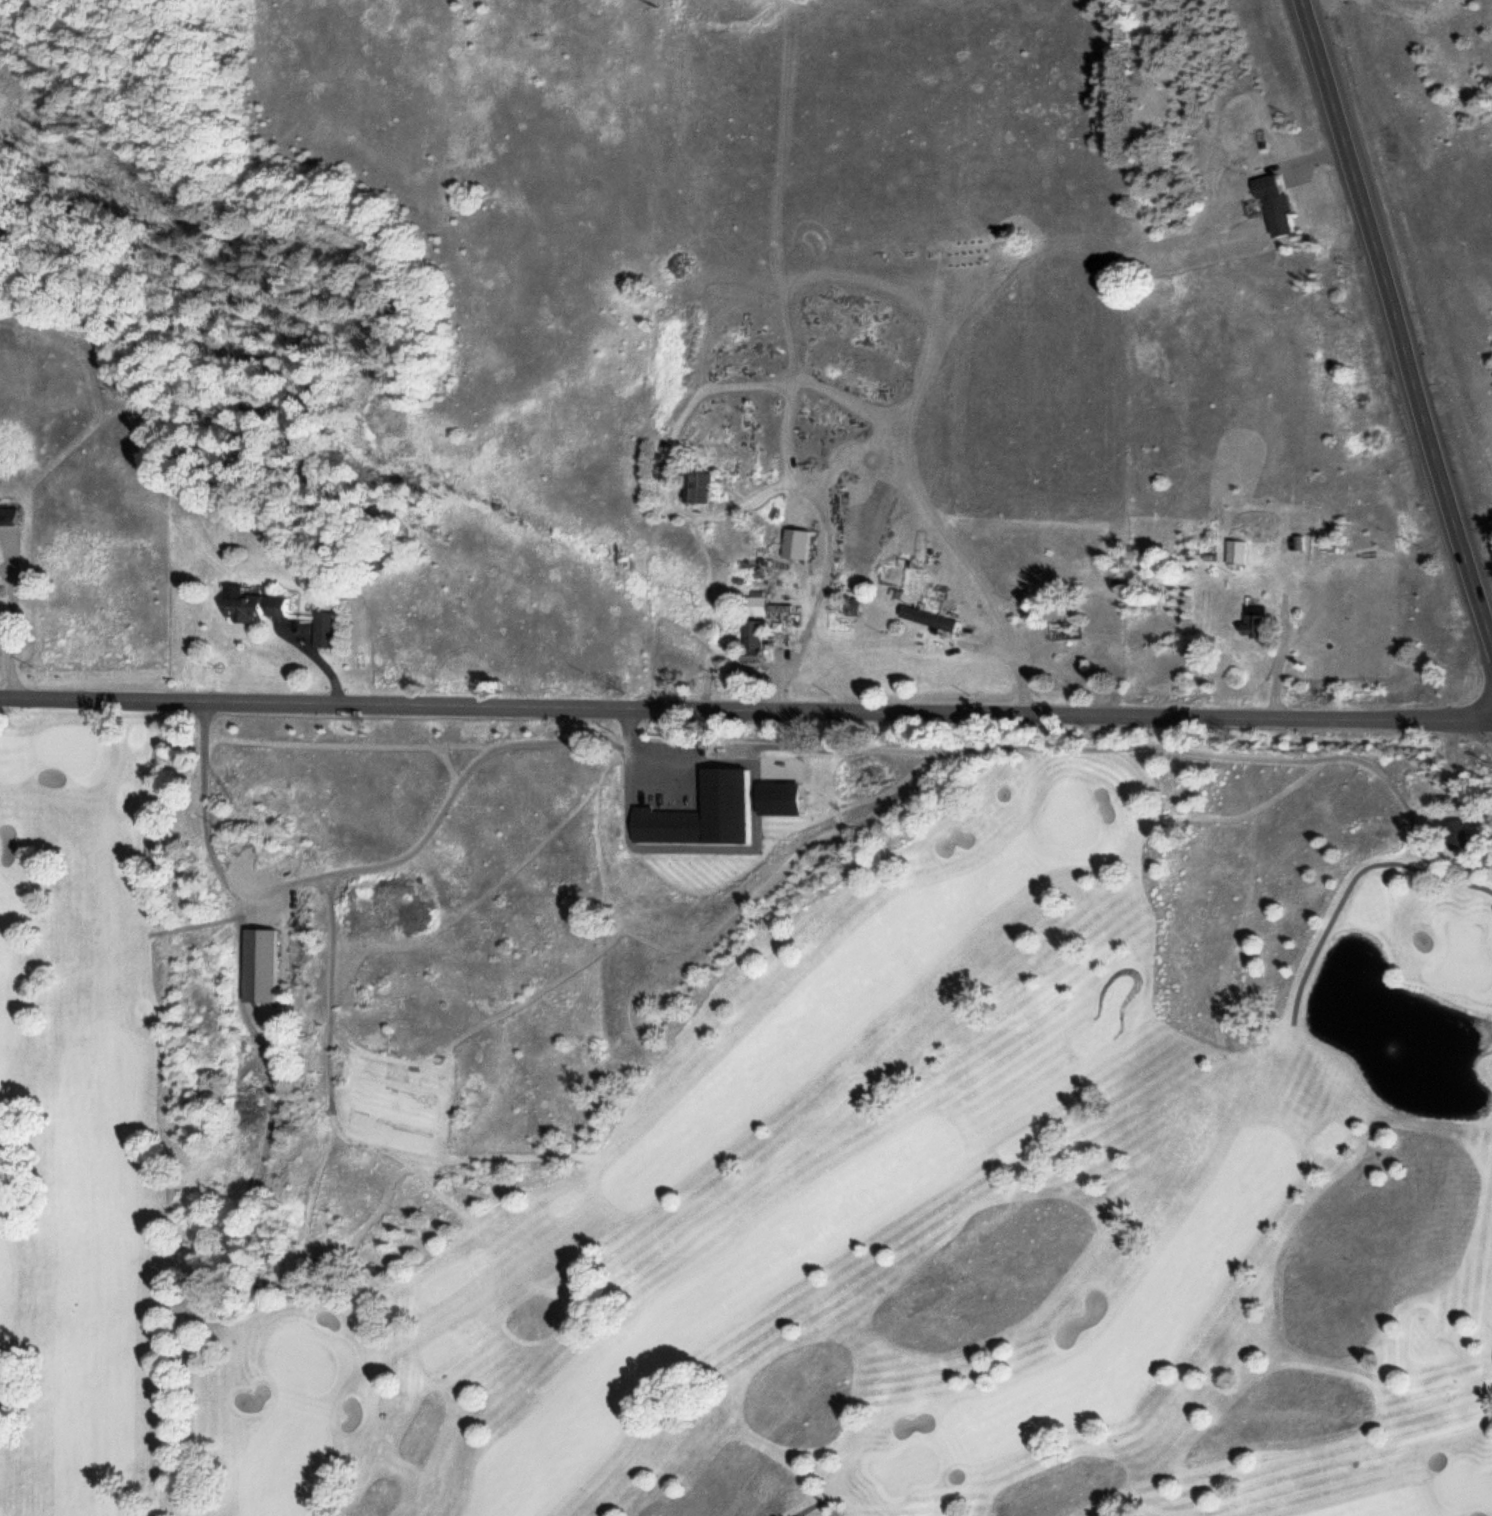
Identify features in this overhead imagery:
building: (1271, 201)
road: (1400, 302)
building: (695, 487)
building: (11, 516)
building: (792, 543)
building: (1235, 550)
building: (252, 605)
building: (754, 605)
building: (0, 608)
building: (926, 618)
building: (1251, 620)
building: (322, 629)
building: (751, 637)
road: (746, 707)
building: (1454, 831)
building: (257, 963)
park: (734, 1124)

